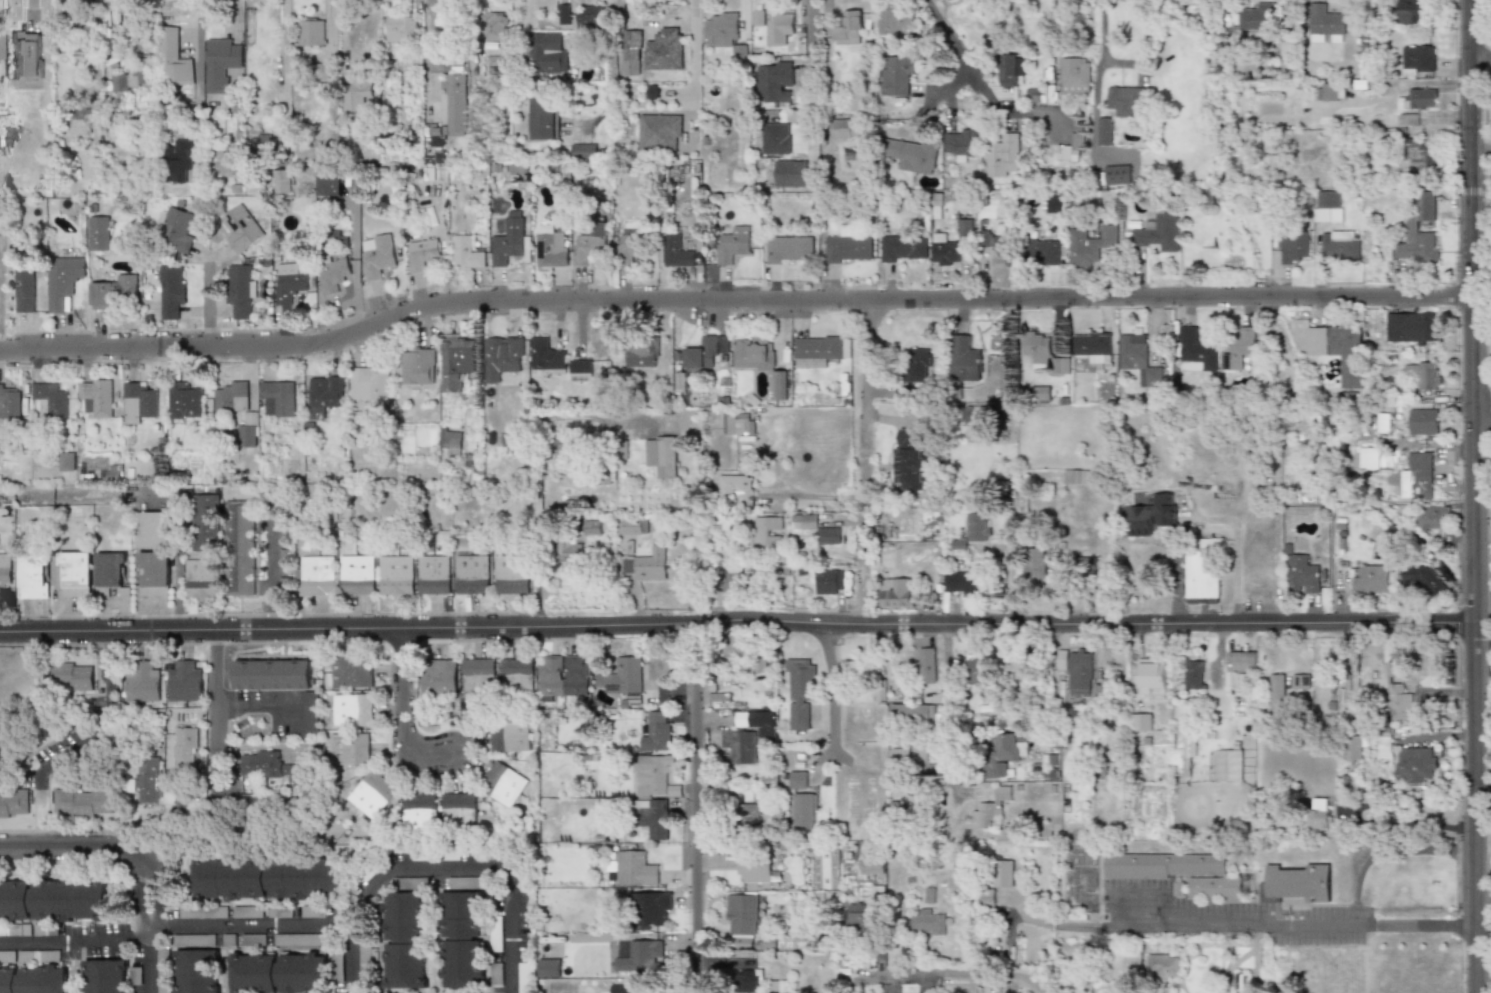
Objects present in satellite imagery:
building: (1405, 11)
building: (566, 14)
building: (590, 16)
building: (1256, 17)
building: (757, 18)
building: (1325, 21)
building: (893, 22)
building: (493, 26)
building: (778, 27)
building: (846, 28)
road: (99, 29)
building: (403, 29)
building: (719, 29)
building: (312, 32)
building: (0, 40)
road: (693, 48)
road: (1103, 50)
road: (201, 51)
building: (548, 52)
building: (670, 54)
building: (175, 59)
road: (433, 59)
building: (1417, 60)
road: (612, 62)
building: (222, 63)
building: (1009, 68)
road: (1476, 69)
road: (810, 73)
building: (895, 74)
building: (1073, 75)
road: (969, 78)
building: (774, 81)
road: (82, 87)
building: (1325, 92)
building: (358, 93)
road: (943, 93)
building: (1420, 98)
building: (1125, 100)
building: (454, 111)
building: (544, 118)
building: (1407, 120)
building: (843, 128)
building: (660, 132)
building: (775, 138)
building: (961, 144)
building: (266, 145)
building: (1069, 148)
building: (583, 151)
building: (909, 153)
building: (1001, 155)
building: (181, 160)
building: (228, 161)
building: (91, 164)
building: (790, 170)
building: (329, 182)
building: (352, 187)
building: (1052, 205)
building: (1324, 205)
building: (242, 227)
building: (178, 229)
building: (1157, 231)
building: (102, 233)
building: (1419, 233)
building: (511, 241)
building: (592, 244)
building: (1089, 244)
building: (733, 245)
building: (848, 245)
building: (553, 246)
building: (1338, 246)
building: (630, 247)
building: (1001, 247)
building: (1293, 247)
building: (787, 248)
building: (904, 248)
building: (676, 251)
building: (945, 251)
building: (1045, 251)
building: (424, 253)
building: (470, 253)
building: (378, 255)
building: (333, 273)
building: (64, 278)
building: (290, 281)
building: (24, 287)
building: (174, 290)
building: (118, 291)
building: (242, 292)
road: (1, 294)
road: (729, 302)
road: (208, 310)
building: (1411, 328)
road: (1010, 344)
building: (1037, 344)
building: (1094, 345)
building: (1238, 348)
building: (1338, 349)
building: (819, 350)
building: (1195, 351)
building: (706, 352)
building: (645, 354)
building: (550, 355)
building: (506, 356)
building: (967, 356)
building: (1139, 358)
building: (459, 361)
building: (759, 361)
building: (420, 363)
building: (918, 363)
building: (584, 369)
building: (1424, 374)
building: (371, 384)
building: (1041, 394)
building: (325, 395)
building: (96, 397)
building: (50, 399)
building: (278, 399)
building: (186, 401)
building: (9, 402)
building: (138, 403)
road: (1478, 409)
building: (251, 417)
building: (1422, 421)
building: (737, 423)
building: (976, 424)
building: (414, 439)
building: (512, 439)
building: (454, 440)
building: (664, 455)
building: (1368, 458)
building: (910, 459)
building: (66, 461)
road: (862, 463)
building: (1420, 474)
road: (539, 478)
building: (734, 480)
road: (156, 495)
road: (1467, 496)
building: (1149, 515)
road: (1206, 518)
building: (1432, 518)
building: (205, 522)
building: (815, 527)
building: (978, 527)
building: (594, 528)
building: (153, 529)
building: (766, 533)
building: (240, 548)
building: (575, 552)
building: (1038, 562)
building: (647, 564)
building: (1084, 565)
building: (5, 568)
building: (1202, 568)
building: (112, 571)
building: (75, 574)
road: (272, 574)
building: (358, 574)
building: (396, 574)
building: (434, 574)
building: (473, 574)
building: (513, 574)
building: (1301, 574)
building: (34, 575)
building: (153, 575)
building: (317, 575)
building: (1422, 577)
building: (201, 578)
building: (1371, 579)
building: (731, 580)
road: (1009, 580)
building: (828, 581)
building: (967, 582)
building: (897, 592)
road: (733, 621)
building: (746, 653)
building: (928, 664)
building: (852, 668)
building: (1018, 668)
building: (1239, 669)
building: (980, 670)
building: (1078, 670)
building: (350, 671)
building: (274, 674)
building: (518, 674)
building: (1194, 675)
building: (74, 676)
building: (565, 676)
building: (479, 677)
building: (1147, 677)
building: (440, 678)
building: (626, 680)
building: (186, 682)
building: (1300, 682)
building: (144, 683)
road: (832, 688)
building: (800, 691)
building: (1276, 692)
building: (1102, 694)
building: (1347, 694)
road: (267, 698)
building: (1398, 702)
building: (354, 710)
building: (914, 713)
road: (947, 716)
road: (401, 721)
building: (1140, 722)
road: (108, 723)
building: (660, 730)
building: (510, 736)
road: (219, 744)
building: (1356, 746)
building: (737, 747)
building: (186, 749)
building: (350, 749)
building: (1187, 750)
building: (1005, 754)
building: (900, 759)
building: (1414, 764)
building: (267, 766)
building: (1228, 766)
building: (653, 773)
building: (296, 774)
building: (798, 779)
building: (149, 780)
building: (503, 784)
road: (1481, 790)
building: (673, 791)
building: (373, 794)
building: (85, 803)
building: (15, 804)
building: (916, 807)
road: (694, 808)
building: (991, 809)
building: (459, 811)
building: (806, 811)
building: (419, 813)
building: (749, 815)
building: (653, 817)
building: (1317, 819)
road: (1412, 825)
road: (78, 844)
road: (1384, 850)
building: (873, 864)
building: (635, 868)
building: (754, 868)
building: (1176, 871)
building: (1002, 873)
road: (383, 875)
building: (269, 878)
building: (409, 882)
building: (1295, 883)
road: (146, 886)
building: (1177, 889)
building: (54, 899)
building: (653, 908)
building: (314, 911)
road: (147, 912)
building: (204, 912)
building: (249, 912)
building: (282, 912)
building: (742, 915)
building: (862, 919)
building: (929, 922)
road: (1262, 925)
road: (148, 929)
road: (1255, 935)
road: (74, 938)
building: (462, 939)
building: (195, 940)
building: (254, 940)
building: (299, 940)
building: (406, 940)
building: (642, 954)
building: (40, 956)
road: (351, 956)
building: (1133, 962)
road: (149, 965)
building: (1162, 966)
building: (550, 967)
road: (1233, 967)
road: (1254, 968)
building: (163, 971)
building: (199, 971)
building: (279, 972)
road: (965, 975)
building: (107, 976)
building: (34, 979)
building: (749, 980)
road: (1044, 984)
building: (781, 986)
building: (629, 988)

